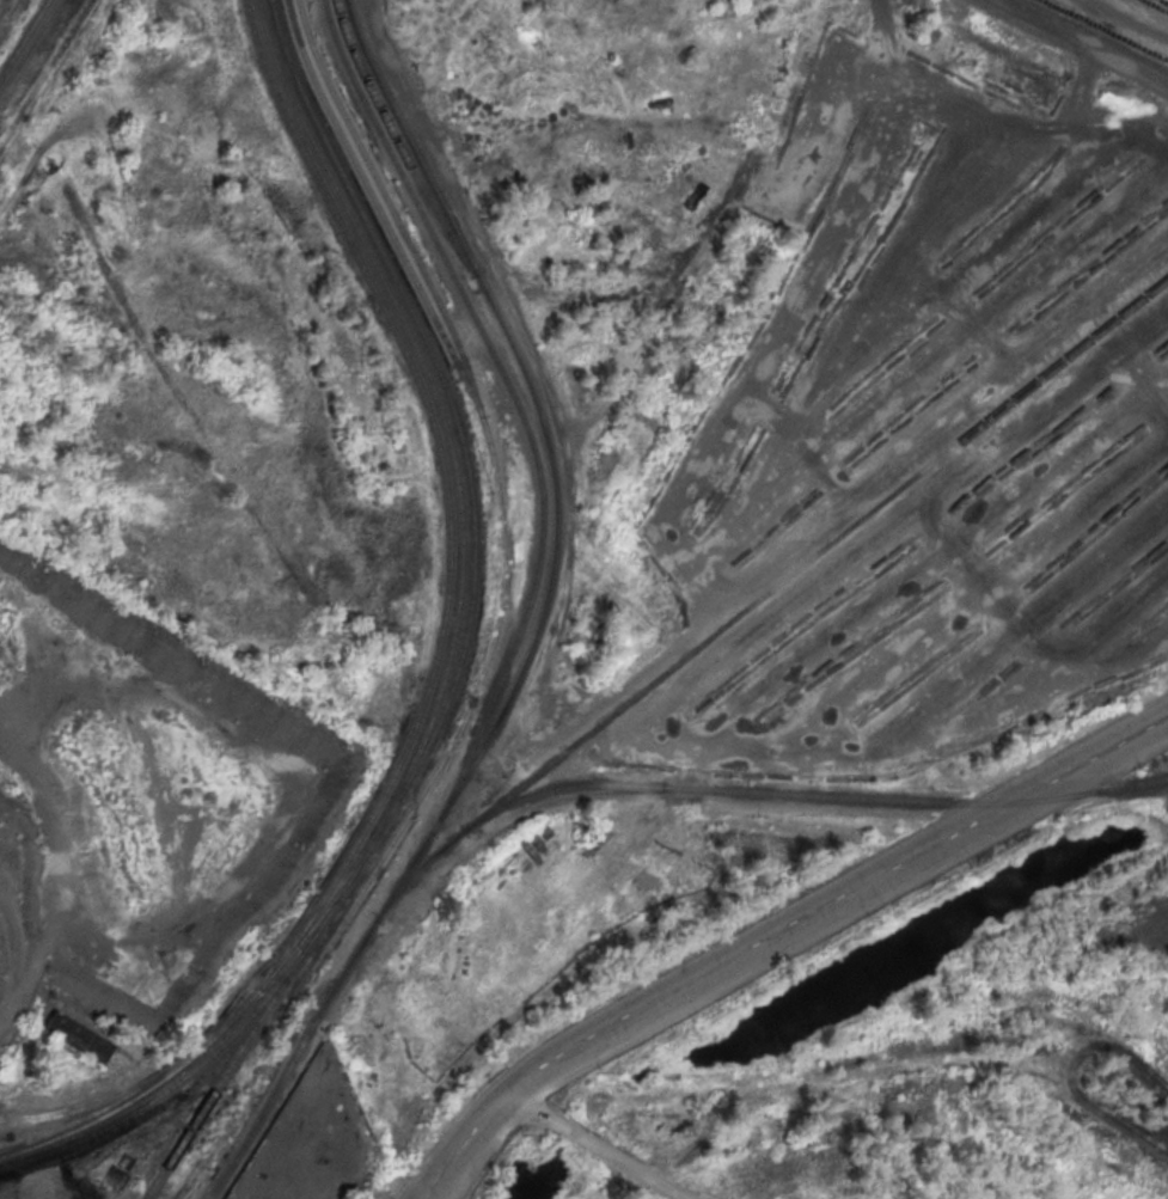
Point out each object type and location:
railway: (24, 39)
road: (1081, 41)
railway: (365, 61)
railway: (43, 68)
railway: (392, 142)
railway: (379, 304)
railway: (430, 385)
railway: (446, 394)
railway: (514, 405)
railway: (555, 528)
railway: (812, 556)
railway: (744, 791)
railway: (312, 922)
road: (765, 922)
road: (784, 940)
railway: (286, 948)
railway: (232, 1030)
building: (77, 1036)
railway: (288, 1062)
railway: (227, 1064)
road: (595, 1139)

